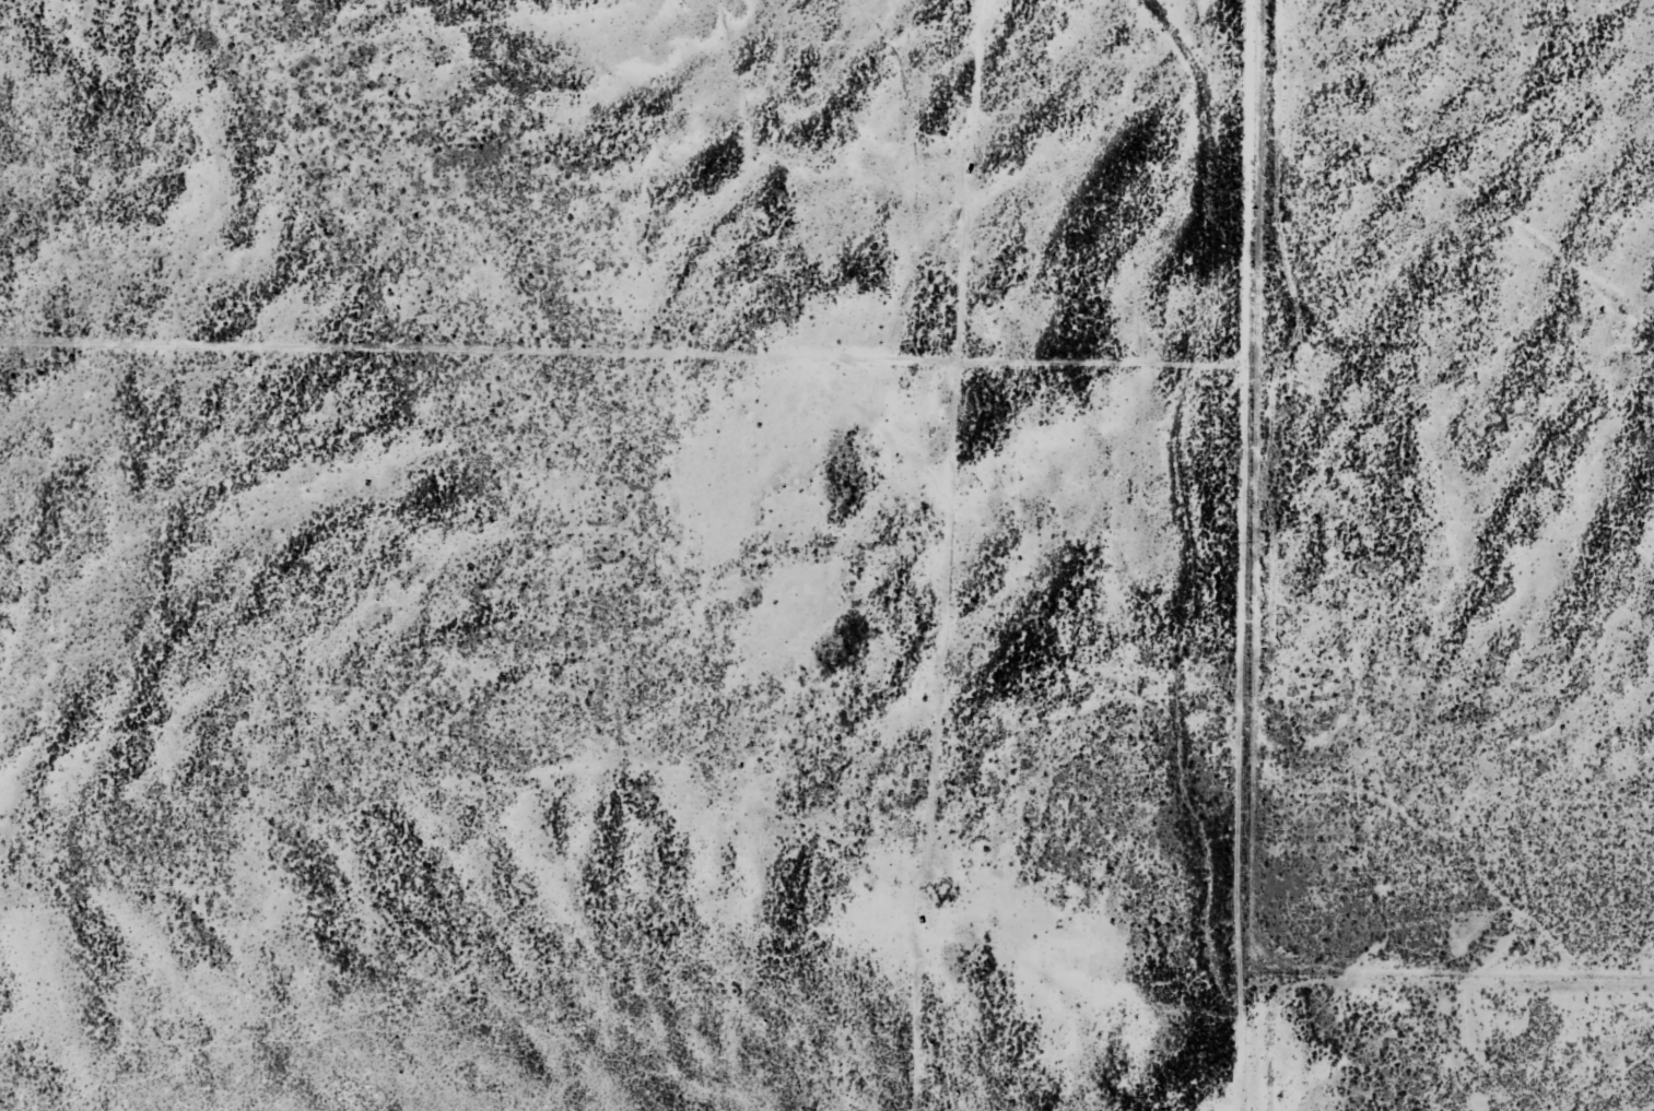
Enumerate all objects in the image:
road: (1244, 555)
road: (1447, 1026)

